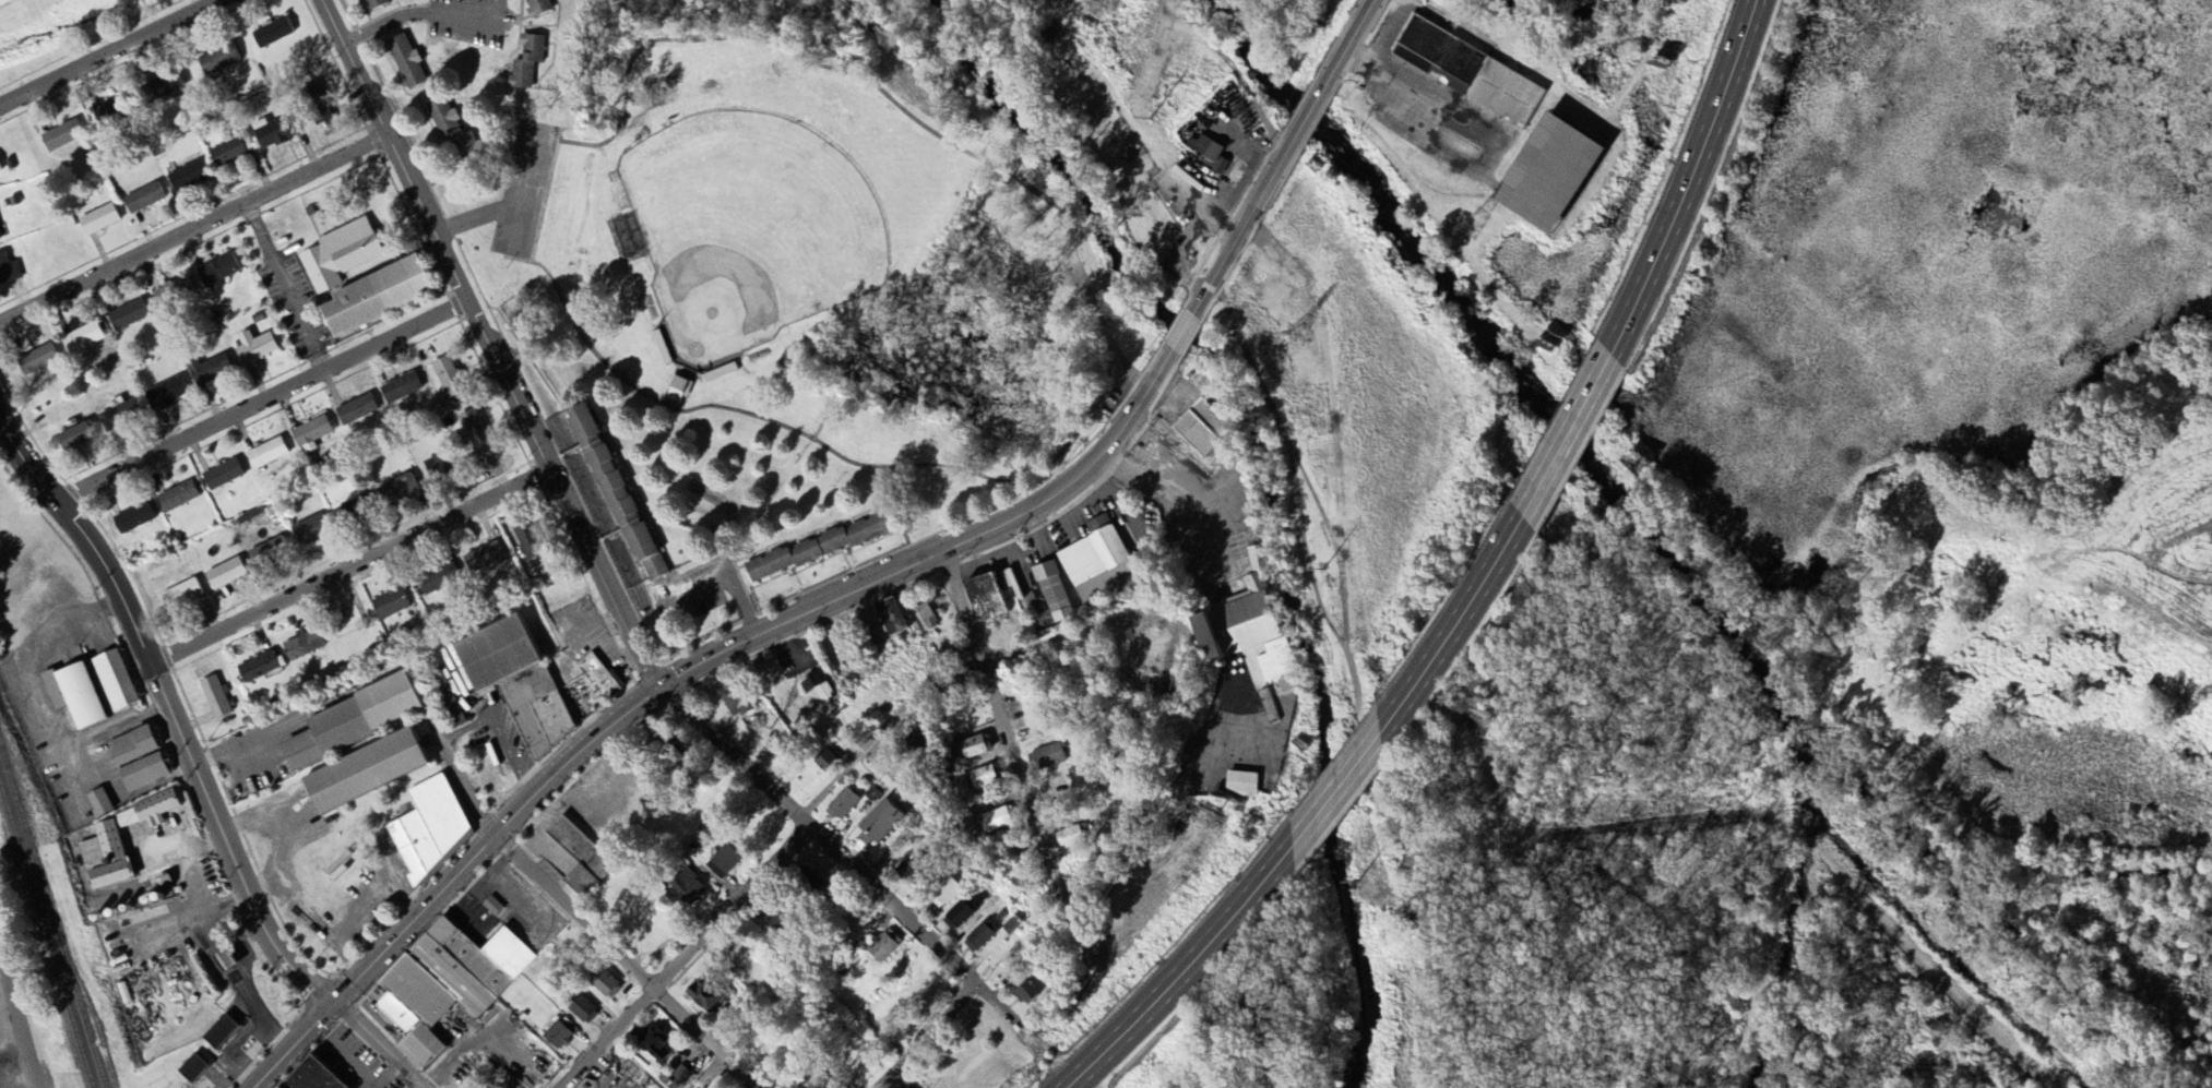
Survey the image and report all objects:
power tower: (1109, 1)
building: (5, 2)
building: (374, 4)
building: (537, 8)
road: (414, 13)
park: (58, 29)
building: (271, 34)
road: (106, 51)
building: (217, 60)
building: (406, 62)
building: (526, 62)
building: (1470, 73)
road: (539, 79)
building: (162, 88)
building: (314, 104)
building: (108, 113)
building: (452, 130)
building: (272, 133)
building: (61, 136)
building: (226, 154)
building: (1224, 158)
road: (1285, 158)
building: (1546, 175)
building: (187, 177)
road: (1692, 181)
parking lot: (523, 188)
road: (525, 190)
building: (142, 200)
road: (1049, 201)
road: (476, 218)
building: (97, 220)
power tower: (1467, 228)
road: (192, 229)
park: (748, 231)
park: (825, 238)
building: (338, 255)
building: (8, 272)
building: (217, 273)
road: (549, 274)
road: (287, 286)
building: (174, 294)
building: (374, 297)
building: (129, 316)
road: (1173, 324)
road: (1184, 334)
building: (83, 338)
road: (487, 345)
building: (254, 348)
building: (36, 361)
building: (209, 371)
building: (448, 378)
building: (400, 390)
building: (677, 391)
parking lot: (1115, 393)
building: (164, 395)
road: (262, 403)
building: (356, 411)
building: (120, 415)
building: (1201, 428)
building: (310, 432)
building: (474, 433)
road: (1568, 437)
building: (72, 440)
building: (265, 454)
building: (221, 476)
building: (397, 490)
building: (616, 495)
building: (177, 498)
building: (132, 521)
power tower: (1929, 521)
building: (308, 531)
building: (816, 548)
road: (1305, 550)
building: (266, 553)
building: (483, 558)
building: (1093, 563)
road: (349, 569)
building: (224, 574)
building: (438, 581)
building: (1053, 593)
building: (181, 595)
building: (985, 598)
building: (390, 605)
building: (927, 614)
building: (889, 620)
building: (1234, 624)
road: (1458, 629)
building: (302, 645)
road: (1346, 654)
building: (1279, 667)
park: (1351, 667)
building: (257, 668)
road: (683, 672)
building: (597, 678)
building: (519, 681)
building: (111, 682)
building: (819, 690)
building: (73, 695)
power tower: (2204, 695)
building: (214, 697)
building: (736, 702)
building: (1268, 708)
building: (352, 721)
road: (500, 734)
road: (243, 742)
building: (915, 744)
building: (131, 746)
building: (975, 748)
road: (1011, 753)
building: (1046, 758)
building: (825, 760)
road: (194, 770)
road: (102, 772)
building: (362, 772)
building: (143, 773)
building: (983, 778)
building: (1240, 786)
road: (1336, 793)
building: (98, 803)
building: (842, 805)
building: (147, 812)
building: (997, 820)
building: (880, 821)
building: (430, 827)
building: (1068, 838)
building: (104, 857)
building: (583, 858)
road: (766, 861)
building: (723, 862)
road: (846, 863)
building: (686, 888)
building: (943, 894)
road: (558, 901)
building: (491, 907)
building: (960, 913)
railway: (53, 914)
building: (1011, 926)
road: (1760, 930)
railway: (46, 936)
building: (979, 937)
building: (882, 947)
building: (222, 961)
road: (1181, 971)
building: (447, 984)
building: (604, 985)
building: (1025, 994)
building: (704, 997)
building: (581, 1009)
railway: (94, 1019)
road: (19, 1027)
building: (221, 1033)
road: (928, 1036)
building: (557, 1037)
building: (654, 1045)
building: (193, 1068)
building: (679, 1075)
building: (313, 1077)
road: (26, 1081)

